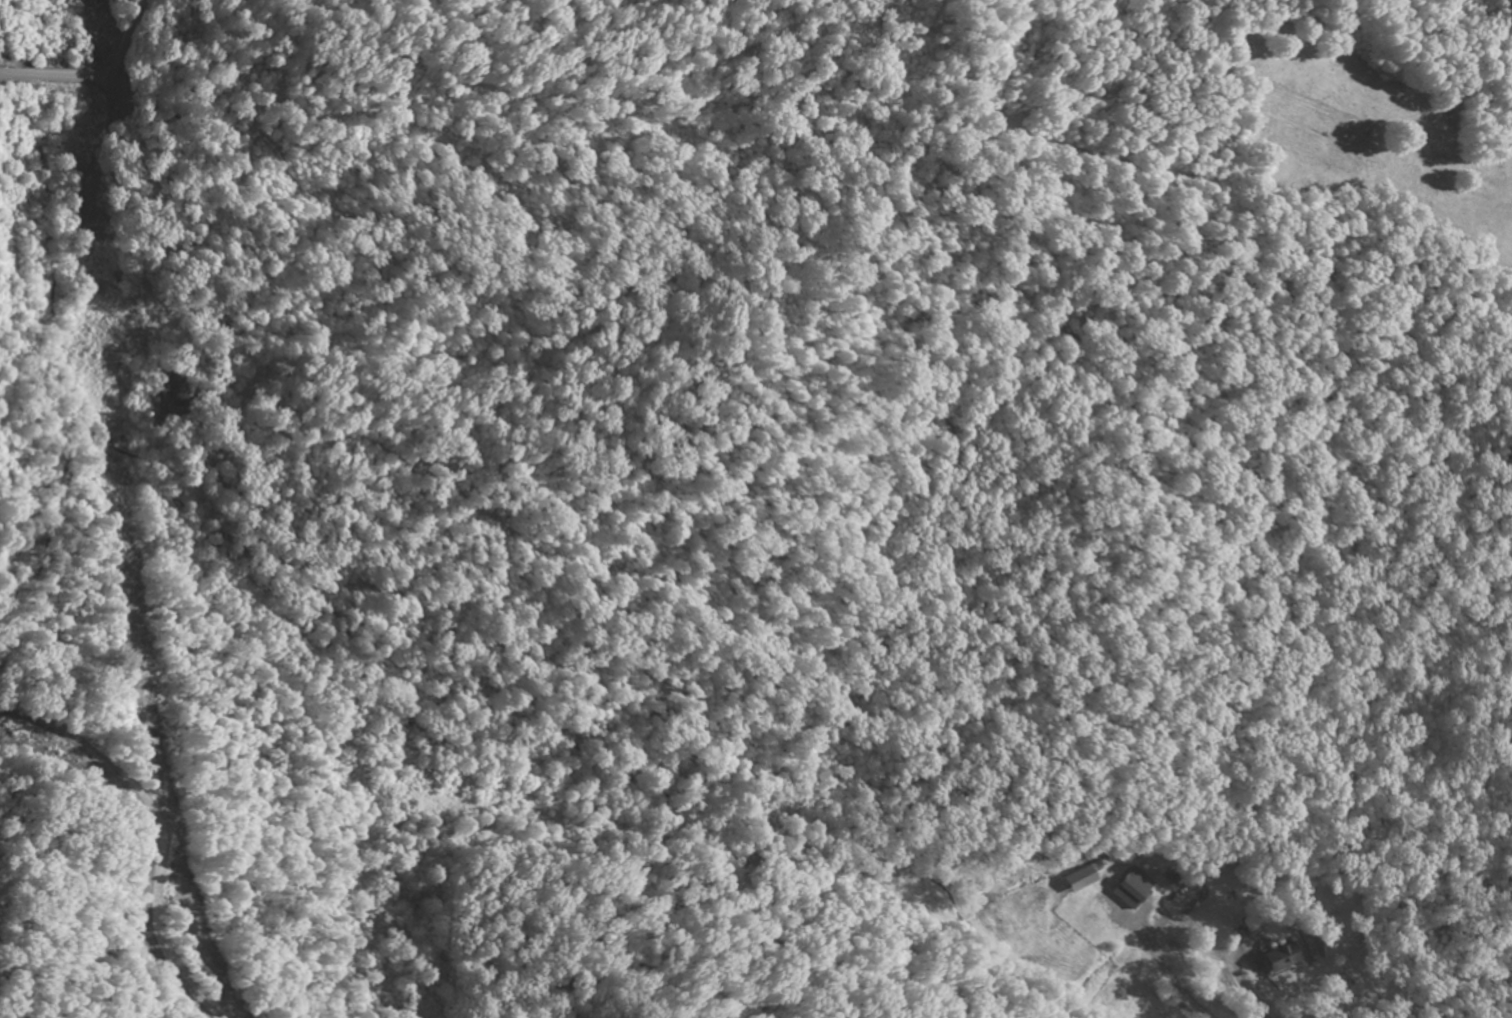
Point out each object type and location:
road: (94, 75)
building: (1085, 879)
building: (1132, 893)
road: (1307, 932)
building: (1280, 960)
road: (1163, 970)

